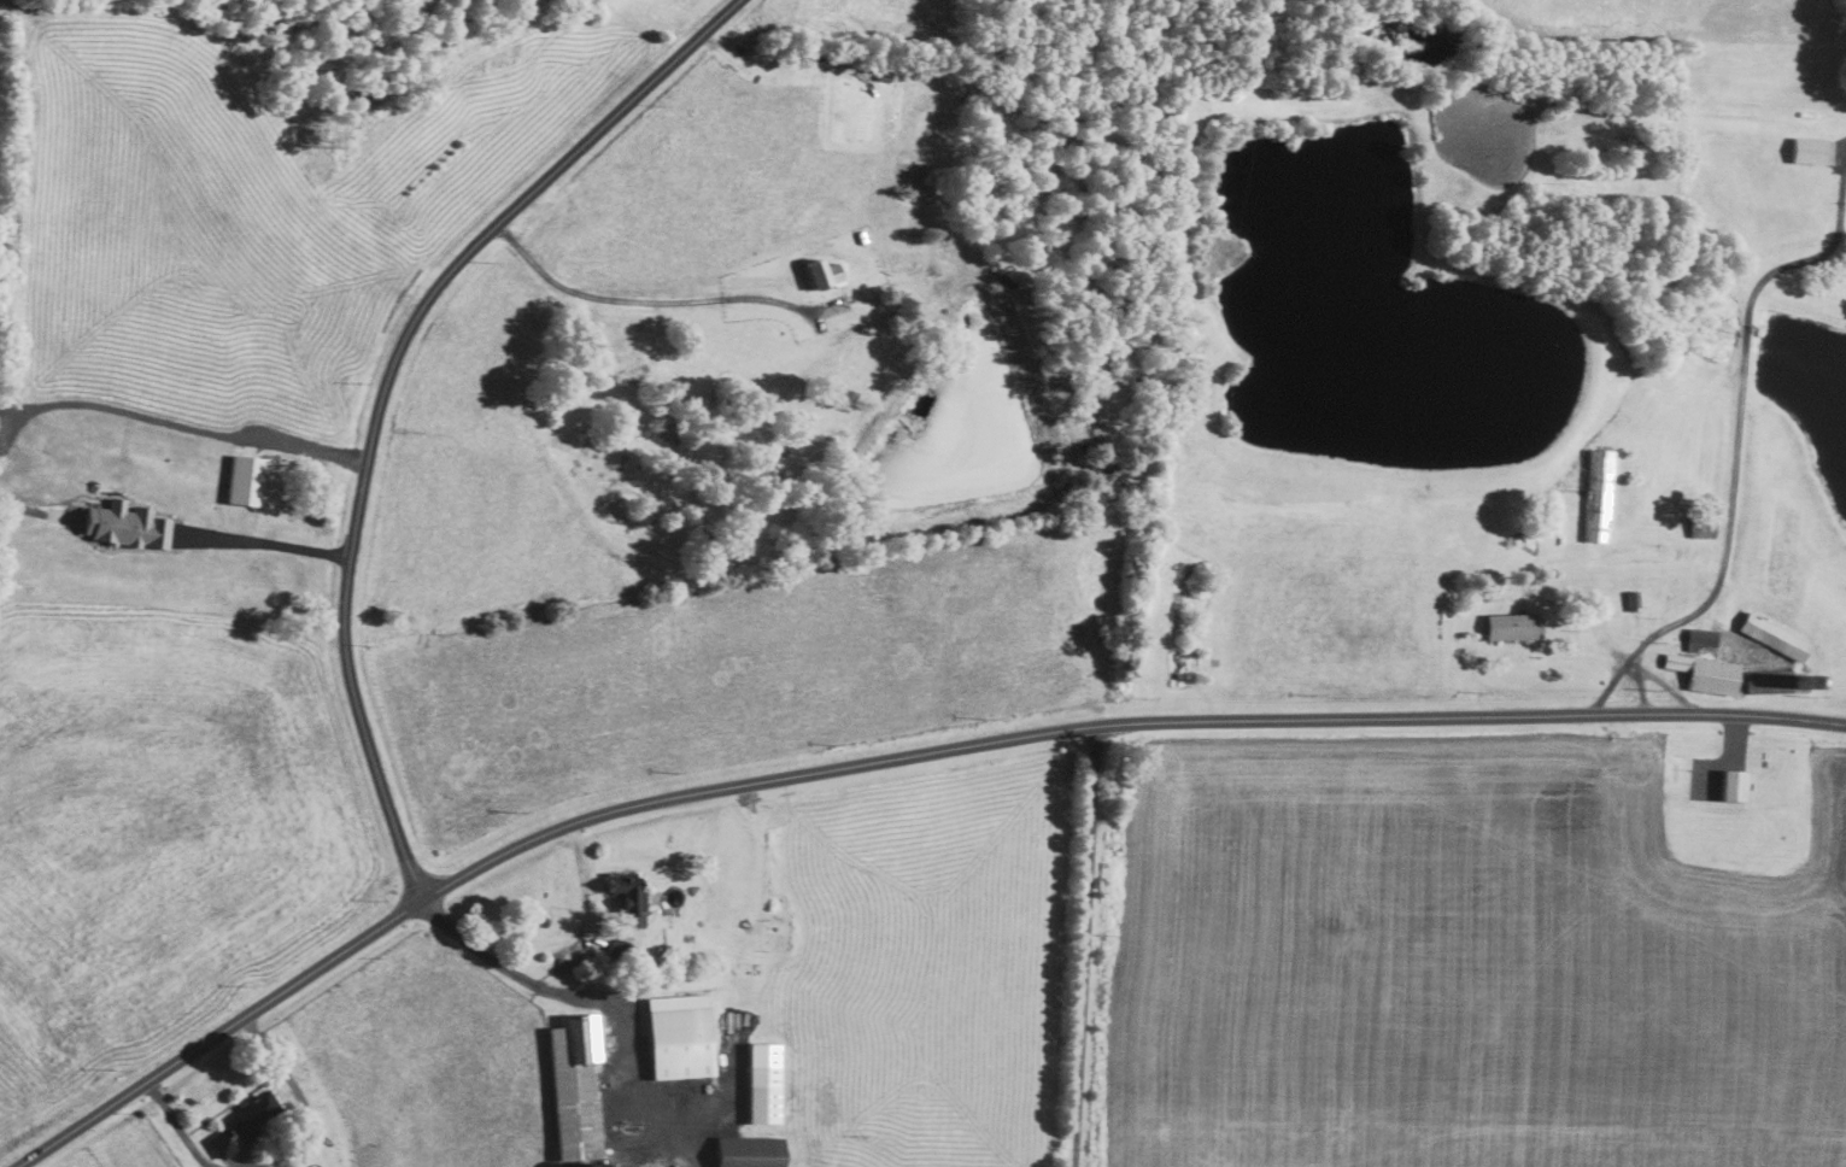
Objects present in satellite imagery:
building: (1813, 149)
building: (821, 274)
road: (644, 300)
road: (387, 385)
road: (176, 424)
road: (1734, 451)
building: (248, 476)
building: (1600, 494)
road: (20, 508)
building: (129, 526)
road: (265, 543)
building: (1513, 626)
building: (1777, 635)
building: (1709, 673)
road: (1666, 686)
road: (1639, 687)
road: (881, 762)
building: (1737, 785)
building: (633, 898)
road: (1086, 946)
road: (586, 1004)
building: (682, 1036)
building: (766, 1081)
building: (579, 1091)
building: (245, 1124)
building: (752, 1151)

